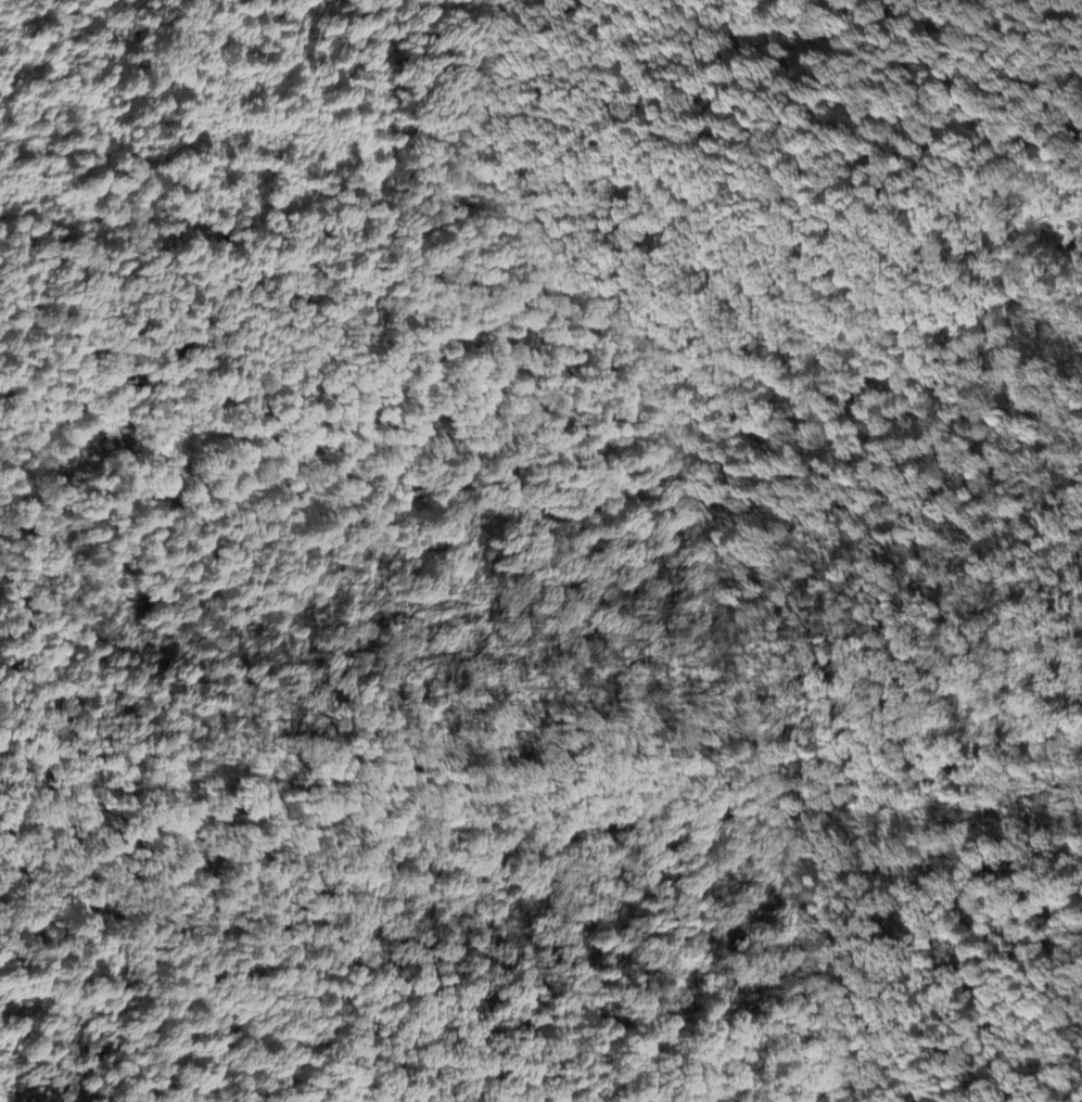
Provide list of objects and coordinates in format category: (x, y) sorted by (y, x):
road: (481, 1054)

